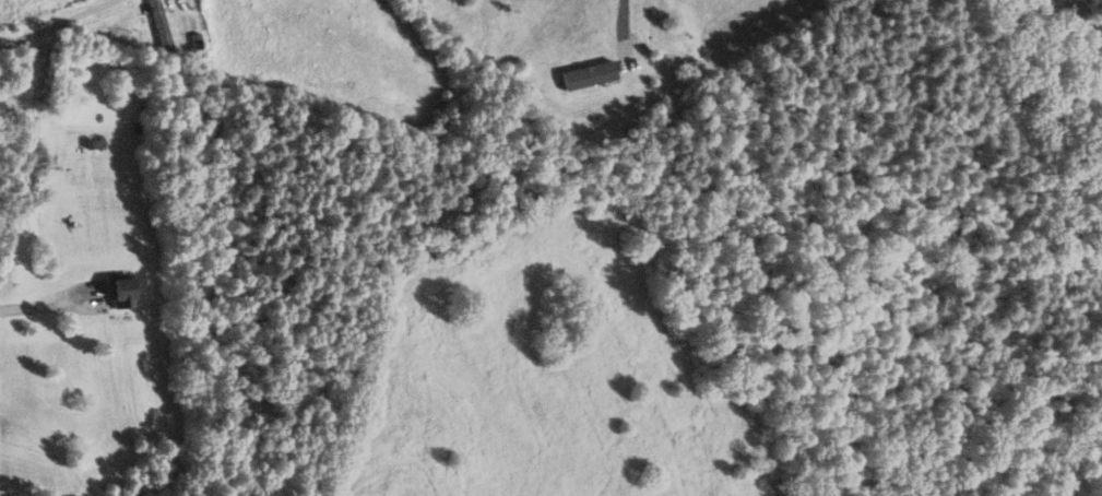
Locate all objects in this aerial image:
road: (58, 23)
road: (626, 26)
road: (46, 303)

